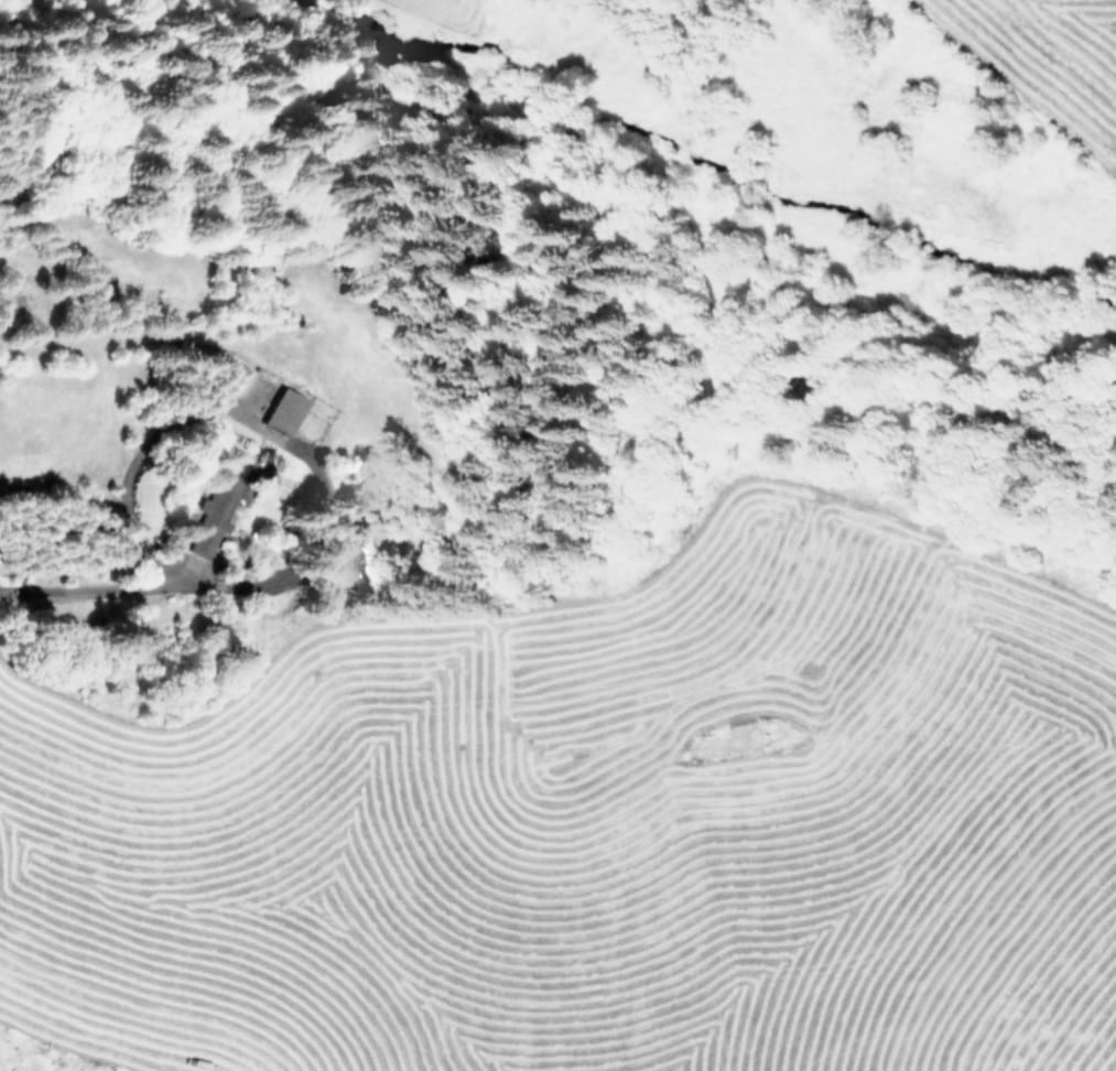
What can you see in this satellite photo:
river: (821, 208)
building: (284, 411)
building: (215, 517)
road: (148, 585)
crop: (483, 909)

